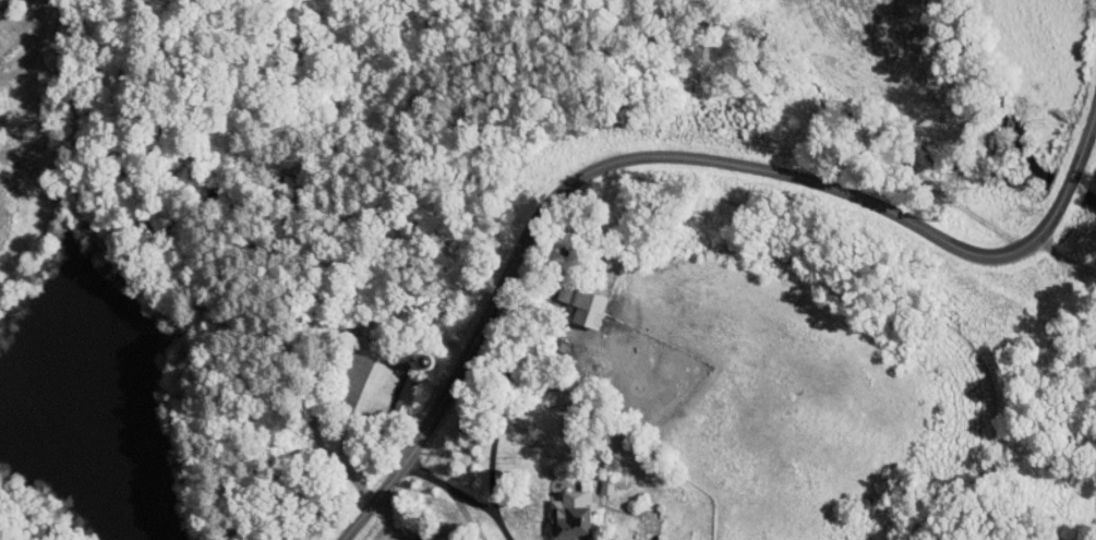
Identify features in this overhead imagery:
road: (665, 154)
building: (570, 298)
building: (356, 371)
building: (392, 388)
road: (495, 395)
building: (593, 480)
road: (457, 493)
building: (558, 509)

